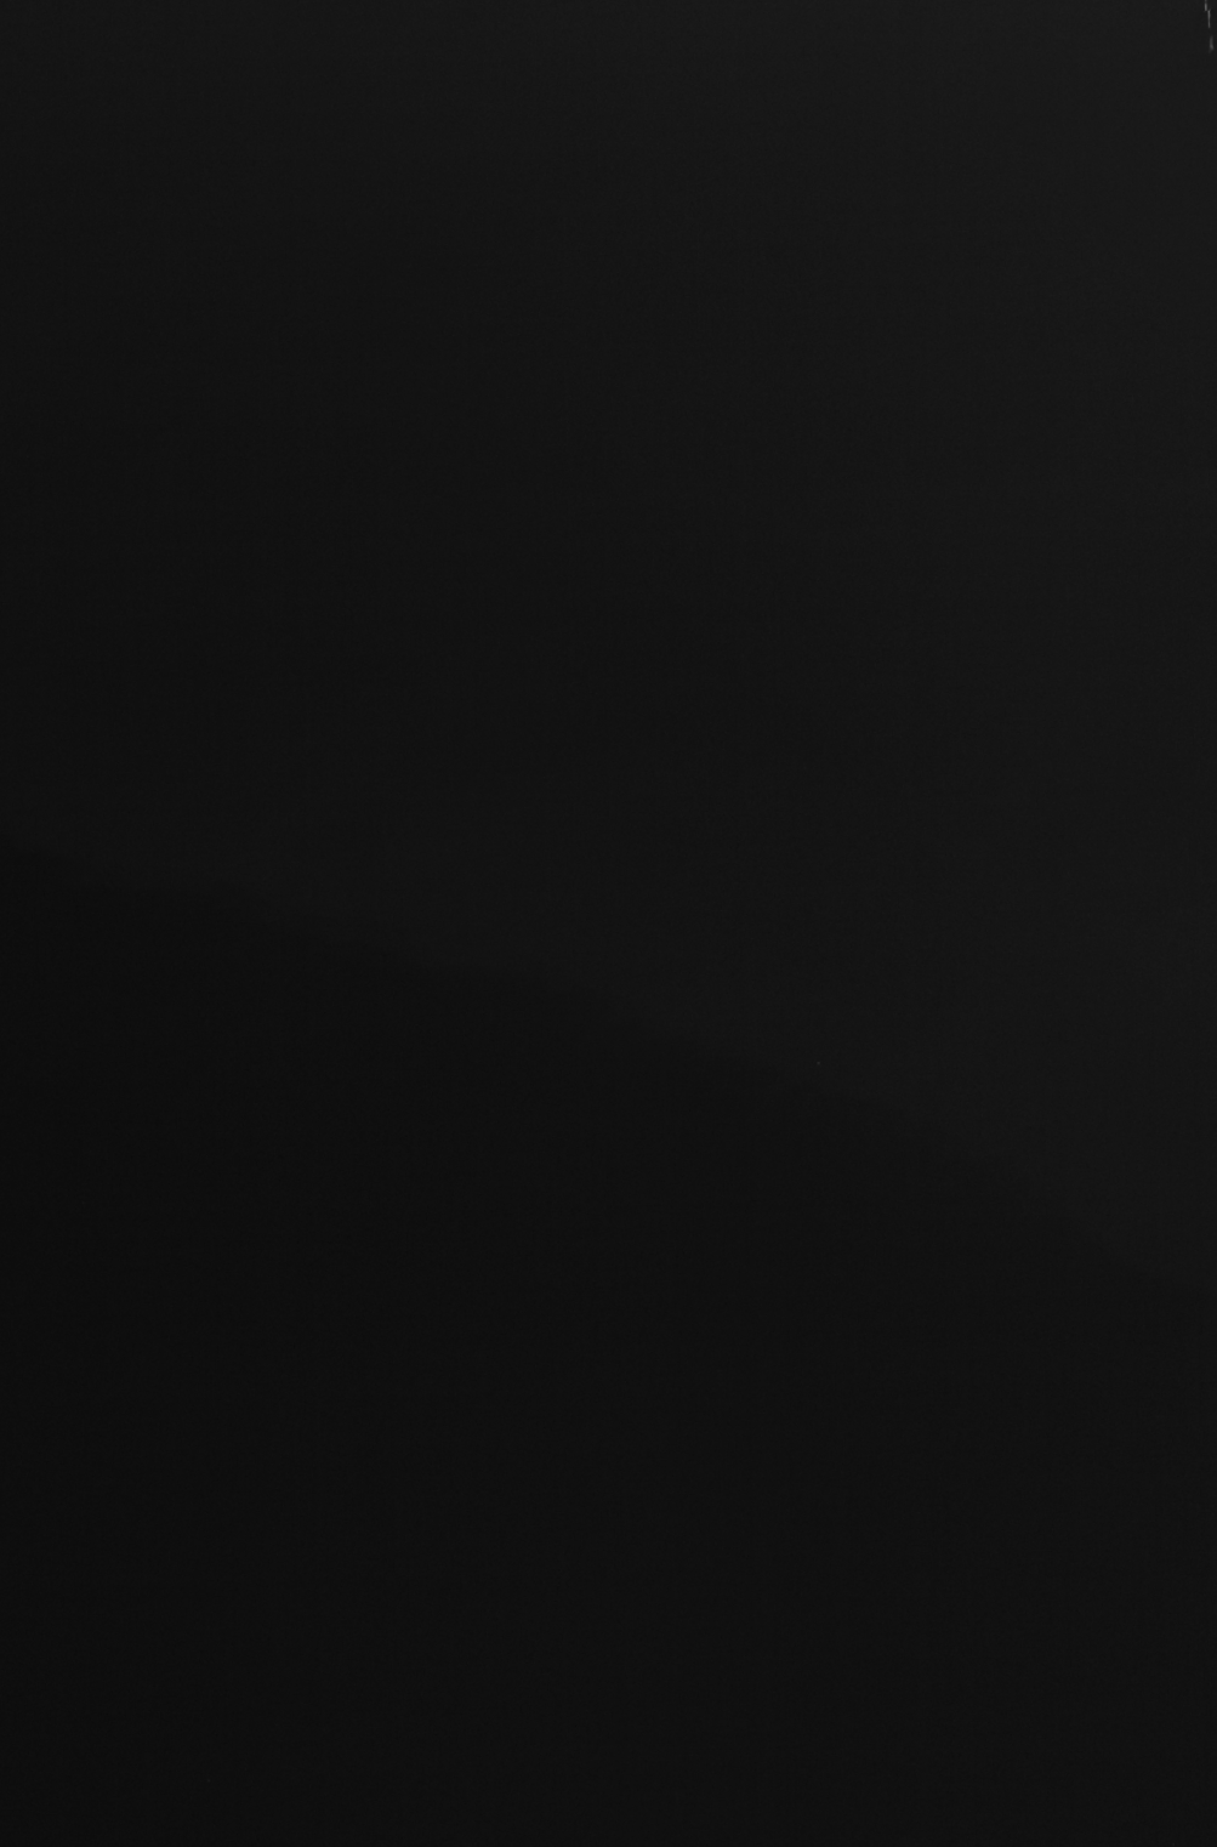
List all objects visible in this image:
river: (306, 1649)

